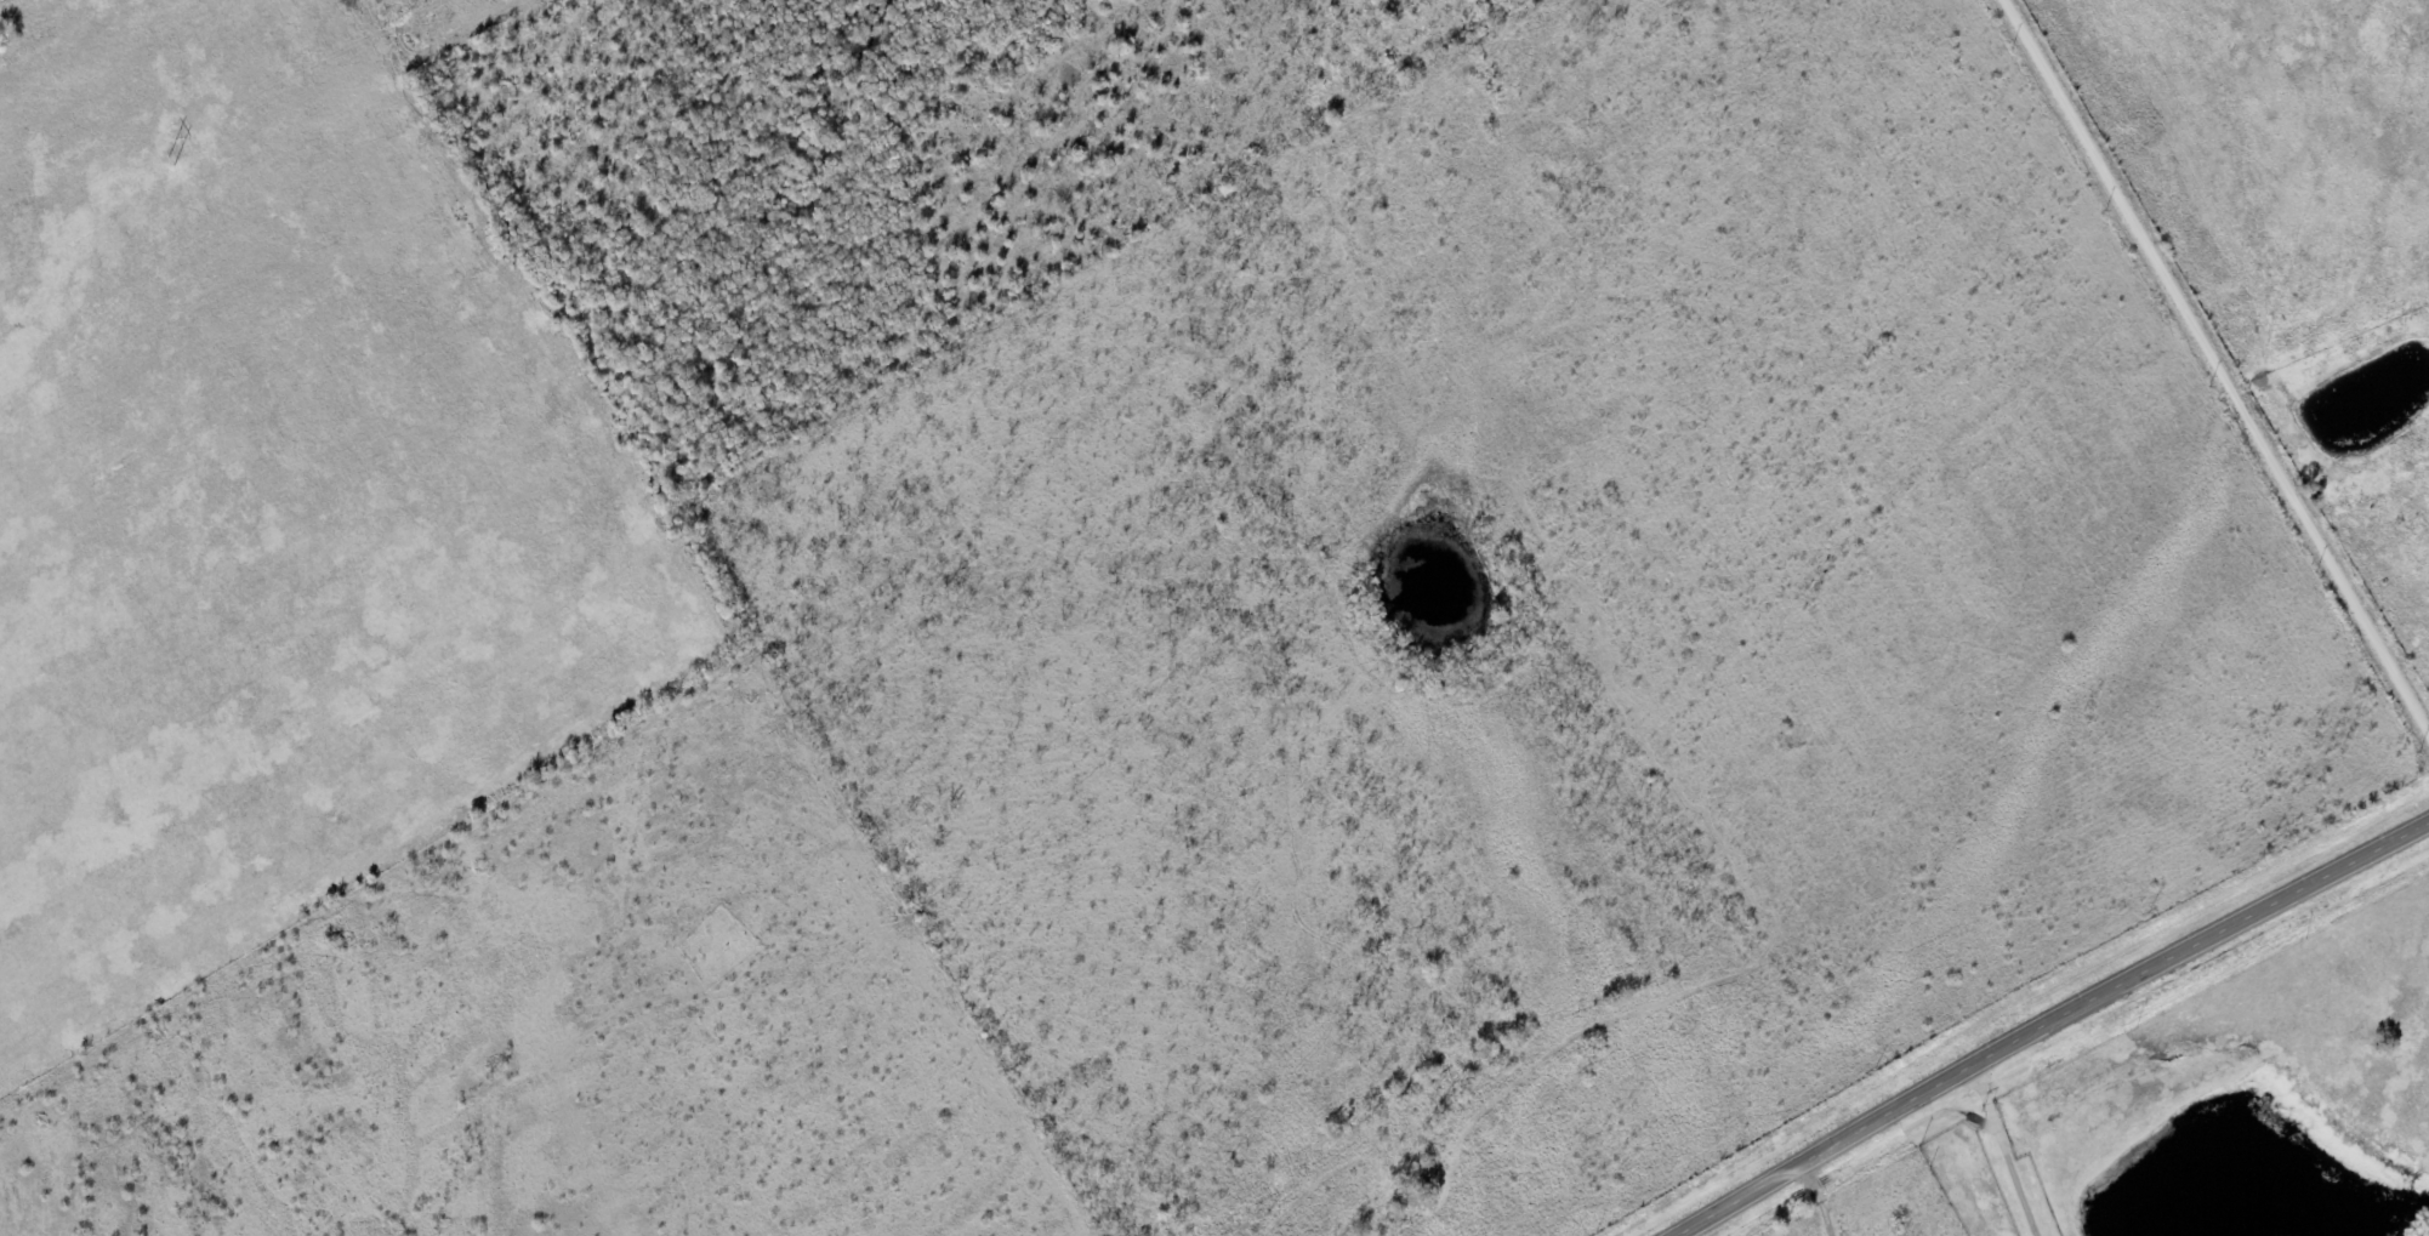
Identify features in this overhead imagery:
power tower: (175, 160)
road: (2222, 358)
road: (2057, 1027)

